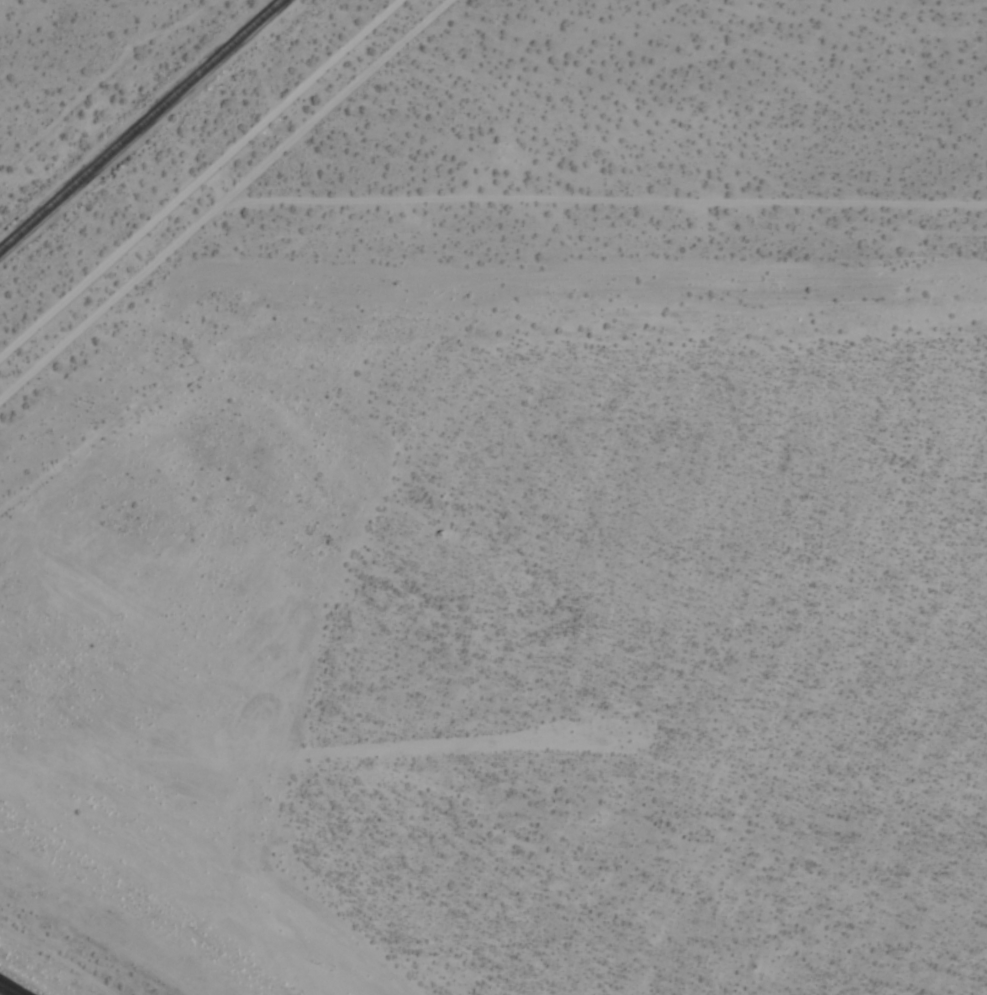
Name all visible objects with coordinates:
railway: (138, 122)
crop: (477, 129)
road: (493, 177)
crop: (501, 623)
road: (7, 990)

